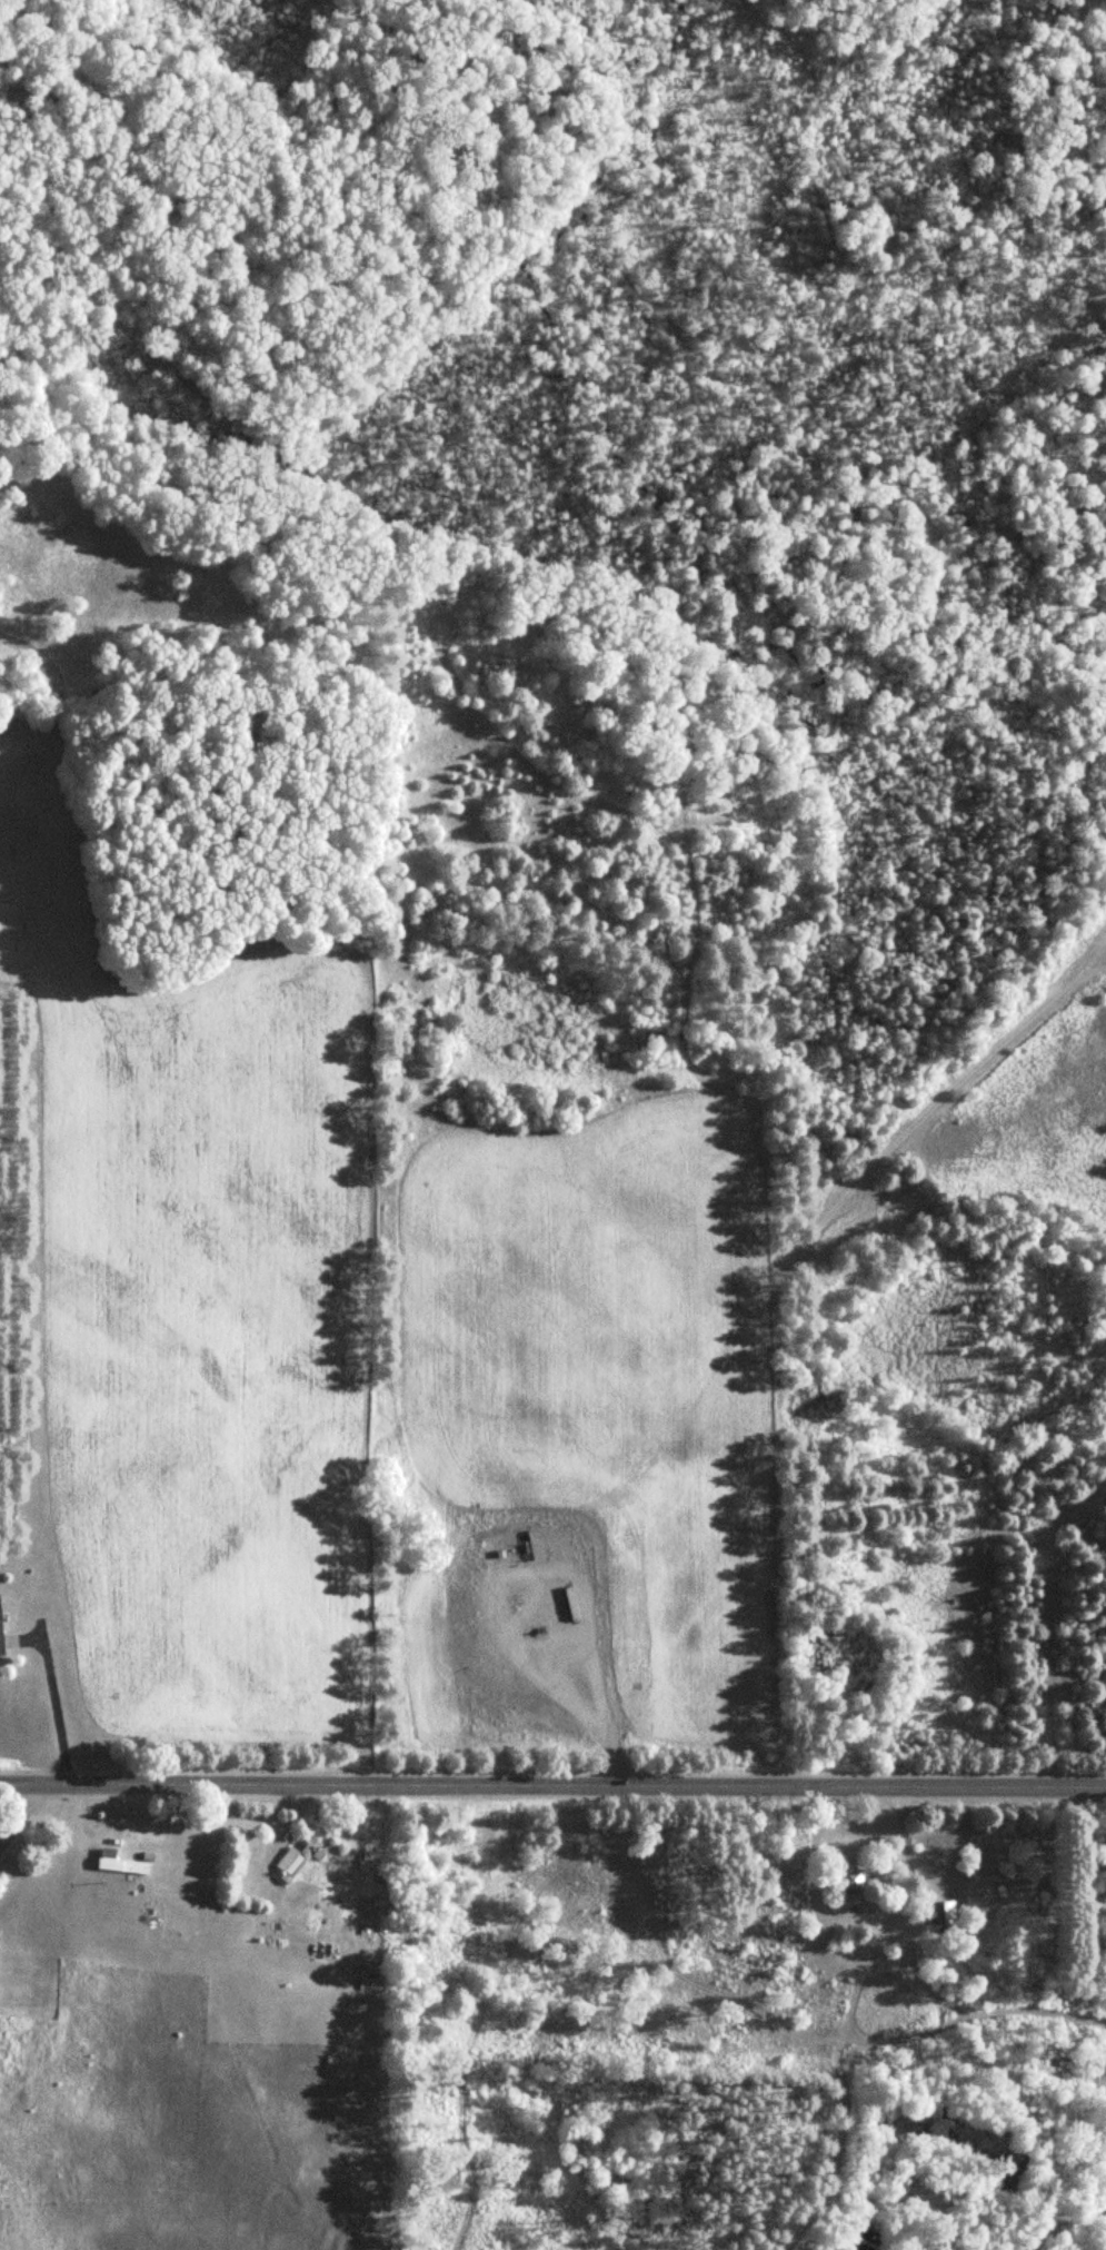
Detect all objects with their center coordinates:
building: (2, 1629)
building: (452, 1633)
road: (552, 1781)
building: (301, 1855)
building: (121, 1862)
building: (854, 1879)

